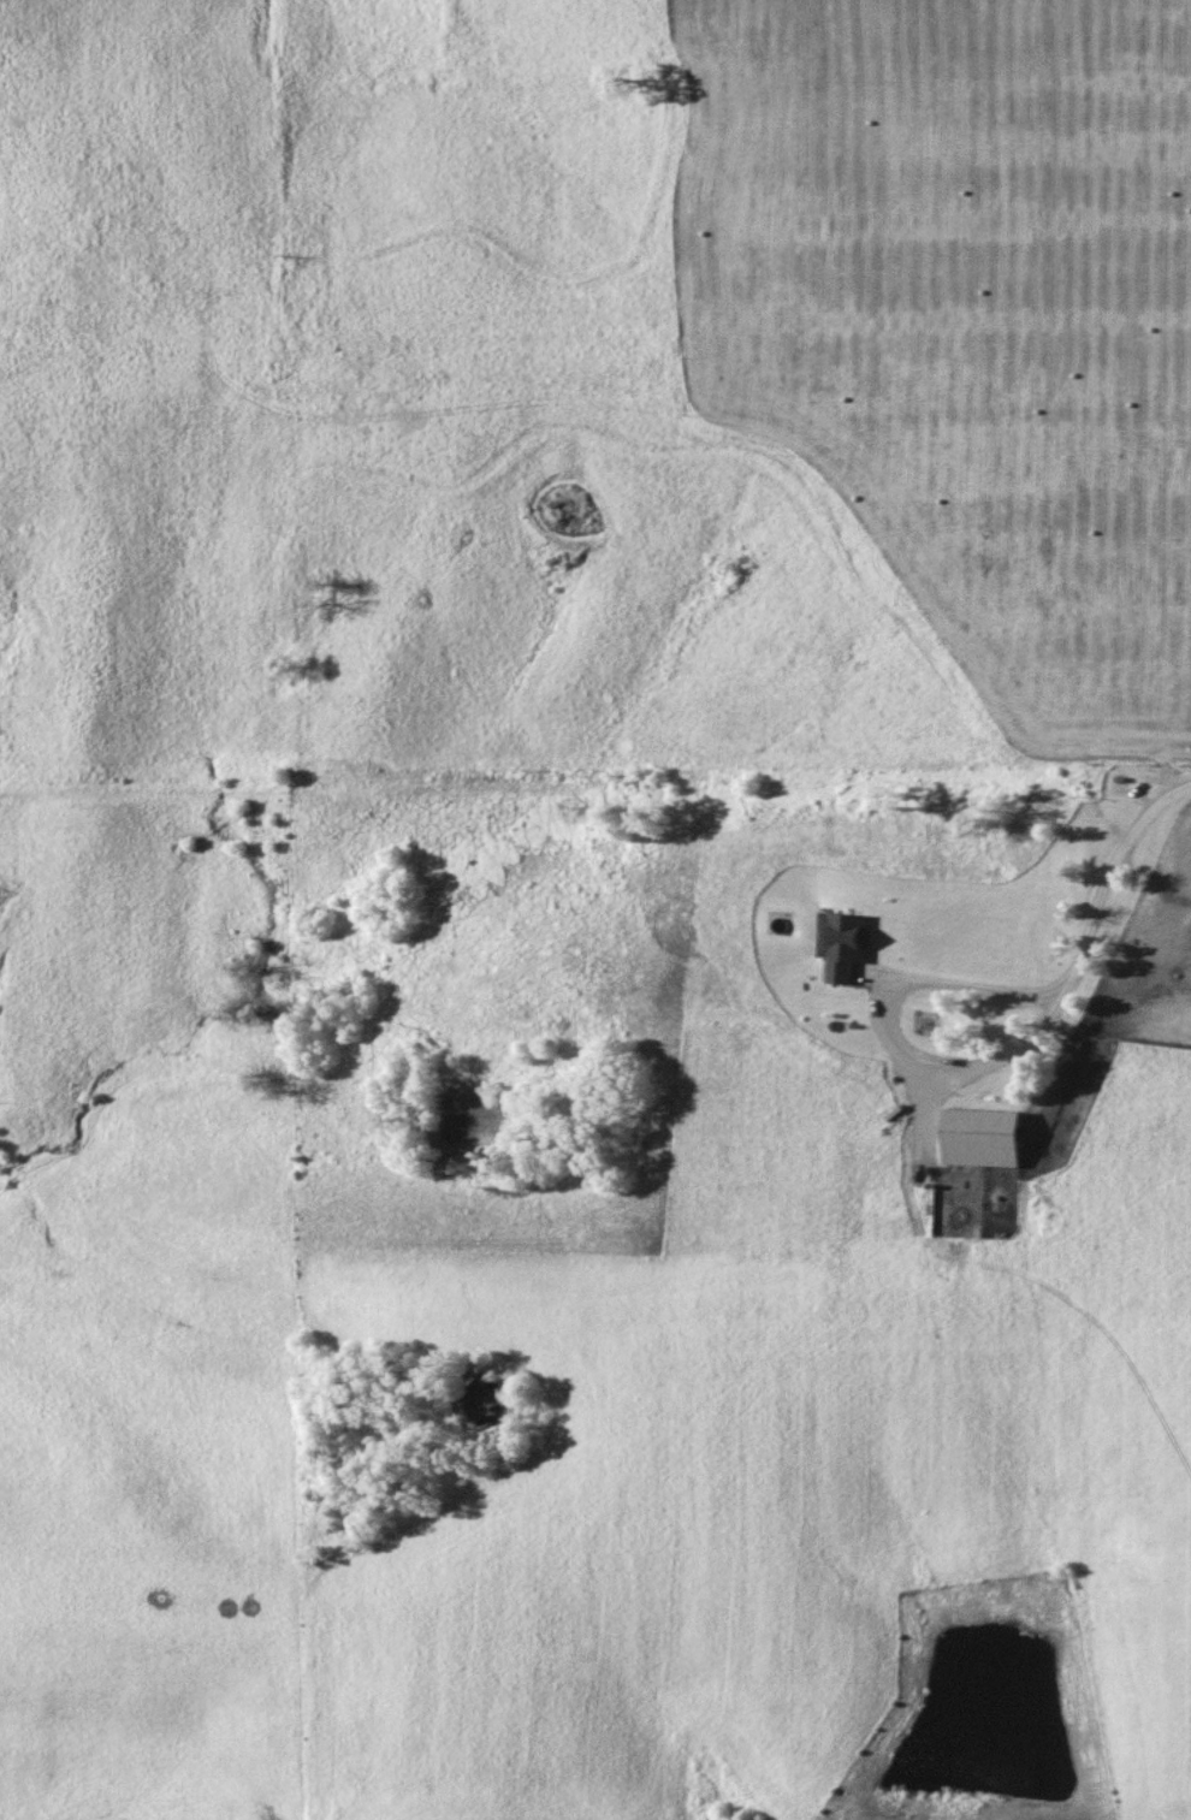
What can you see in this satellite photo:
road: (1104, 877)
building: (986, 1133)

